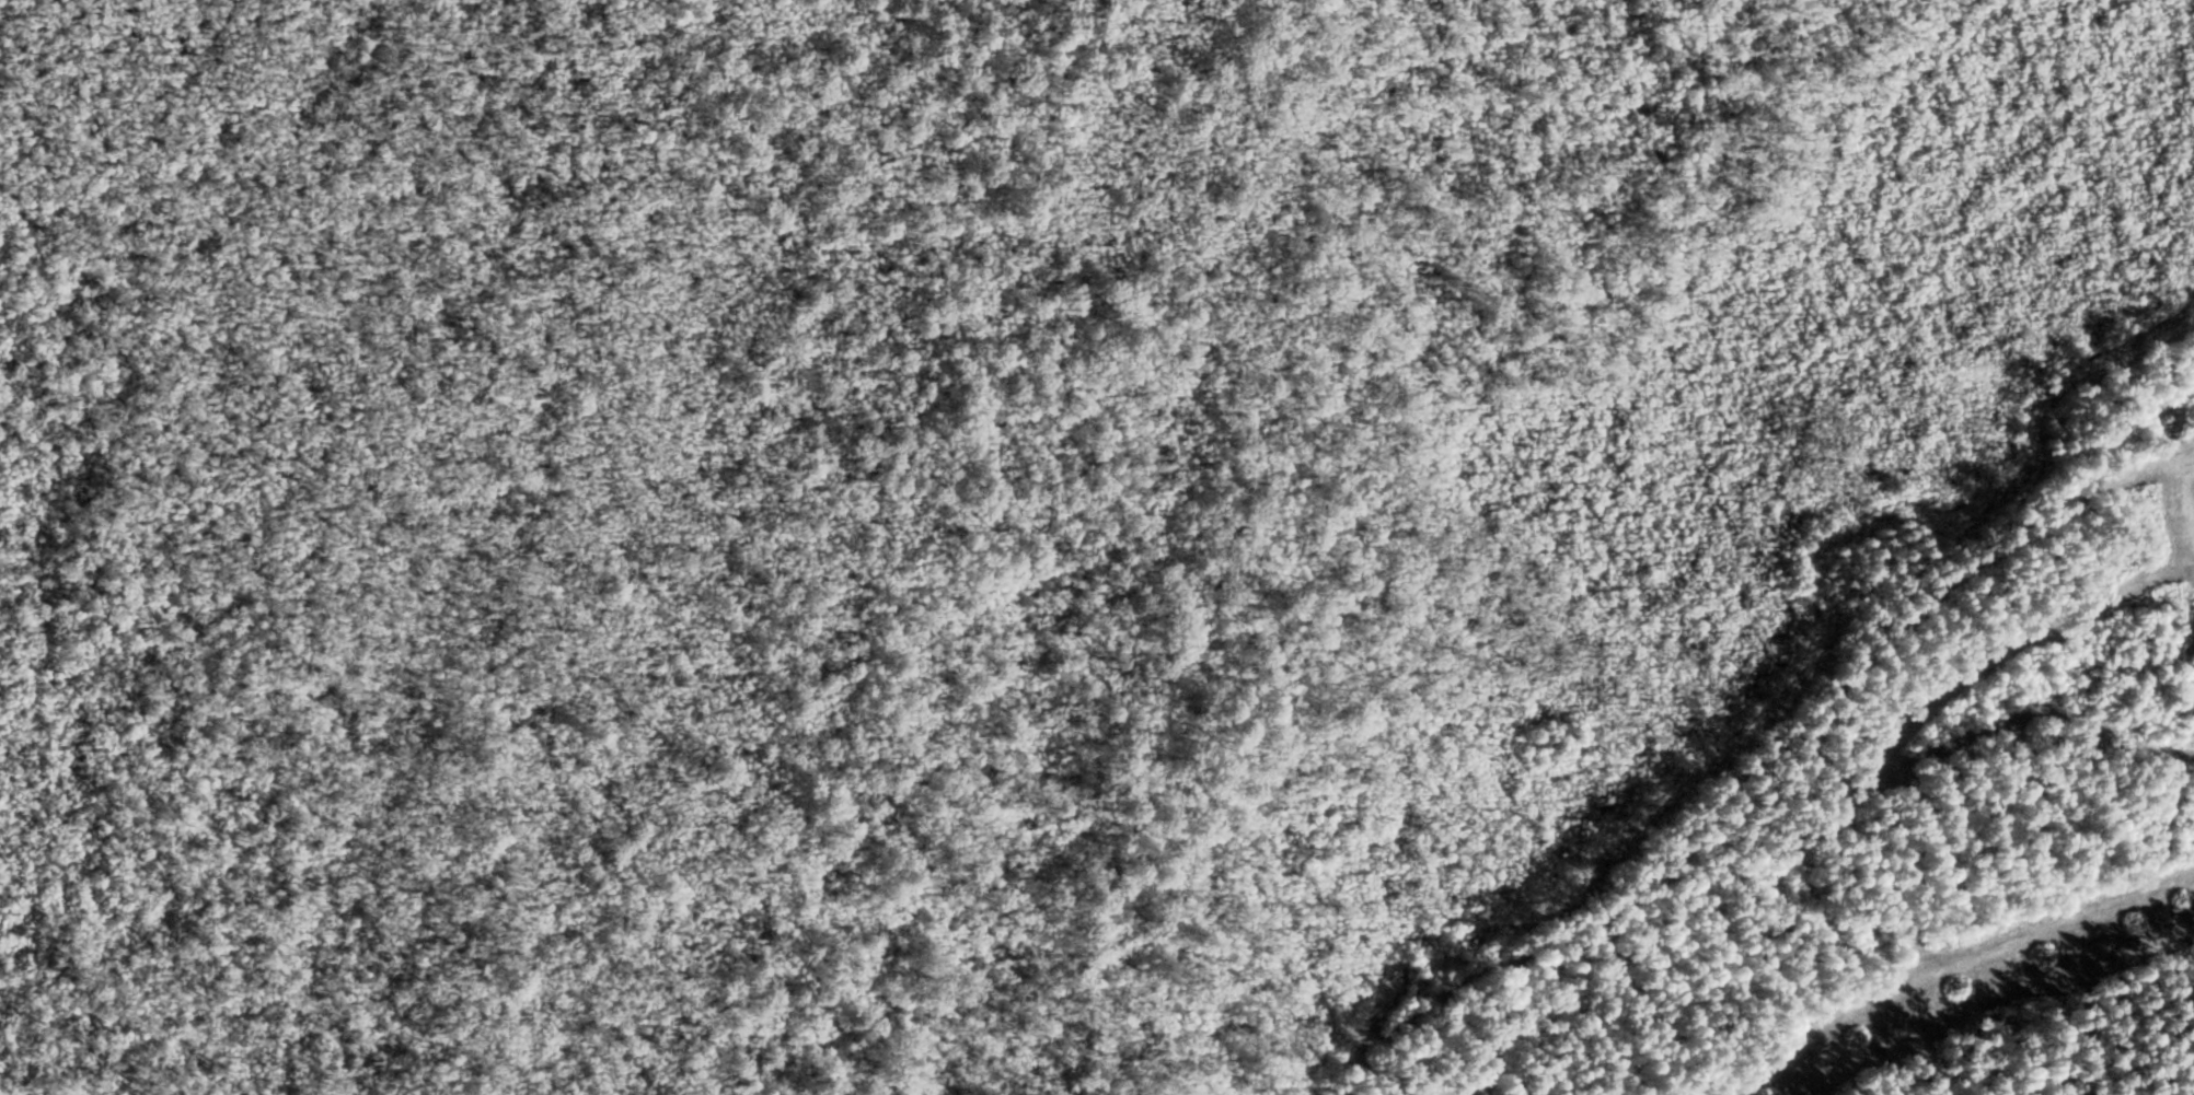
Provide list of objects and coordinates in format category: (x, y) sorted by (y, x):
road: (1955, 965)

